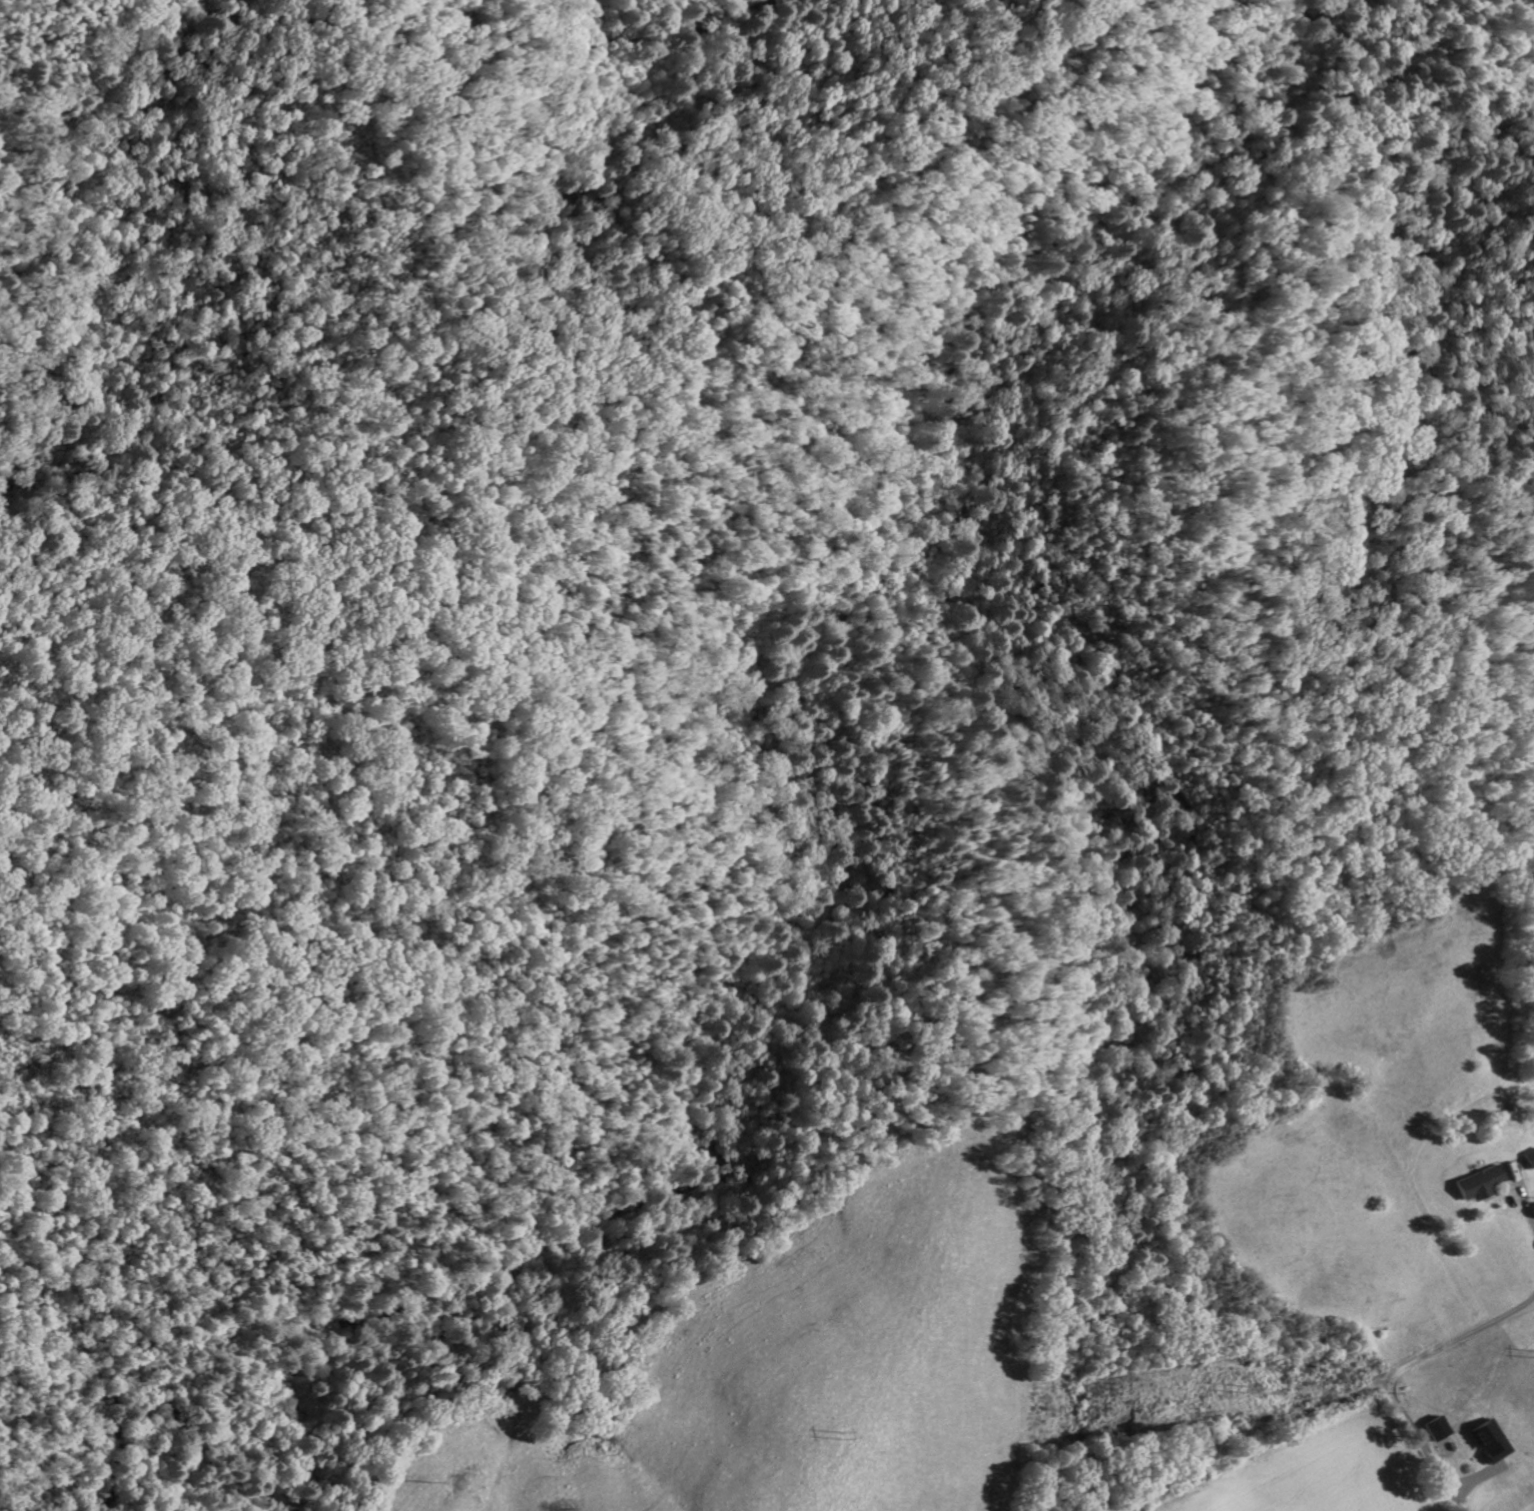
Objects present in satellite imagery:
building: (1523, 1159)
building: (1472, 1184)
road: (1525, 1222)
road: (1429, 1356)
building: (1430, 1429)
building: (1483, 1442)
road: (1437, 1479)

